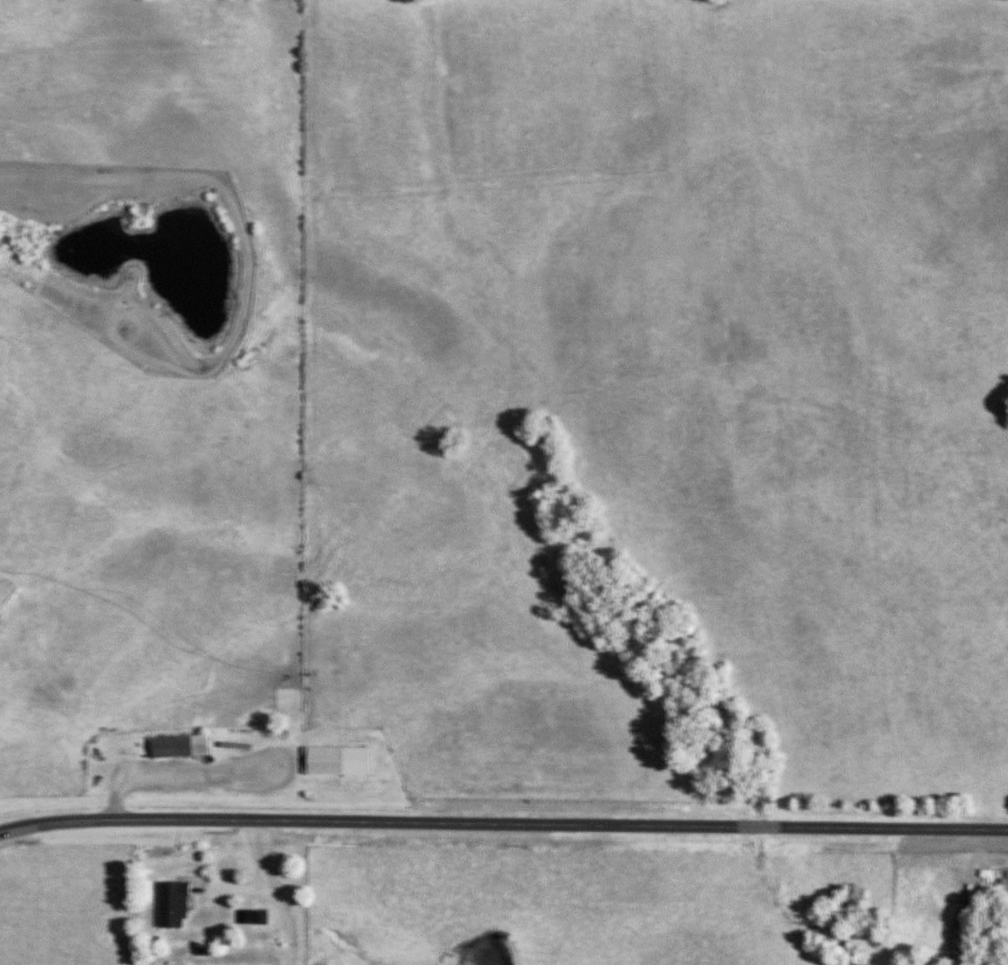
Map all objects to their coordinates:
building: (179, 747)
building: (337, 761)
road: (179, 773)
road: (503, 822)
road: (281, 889)
building: (172, 905)

